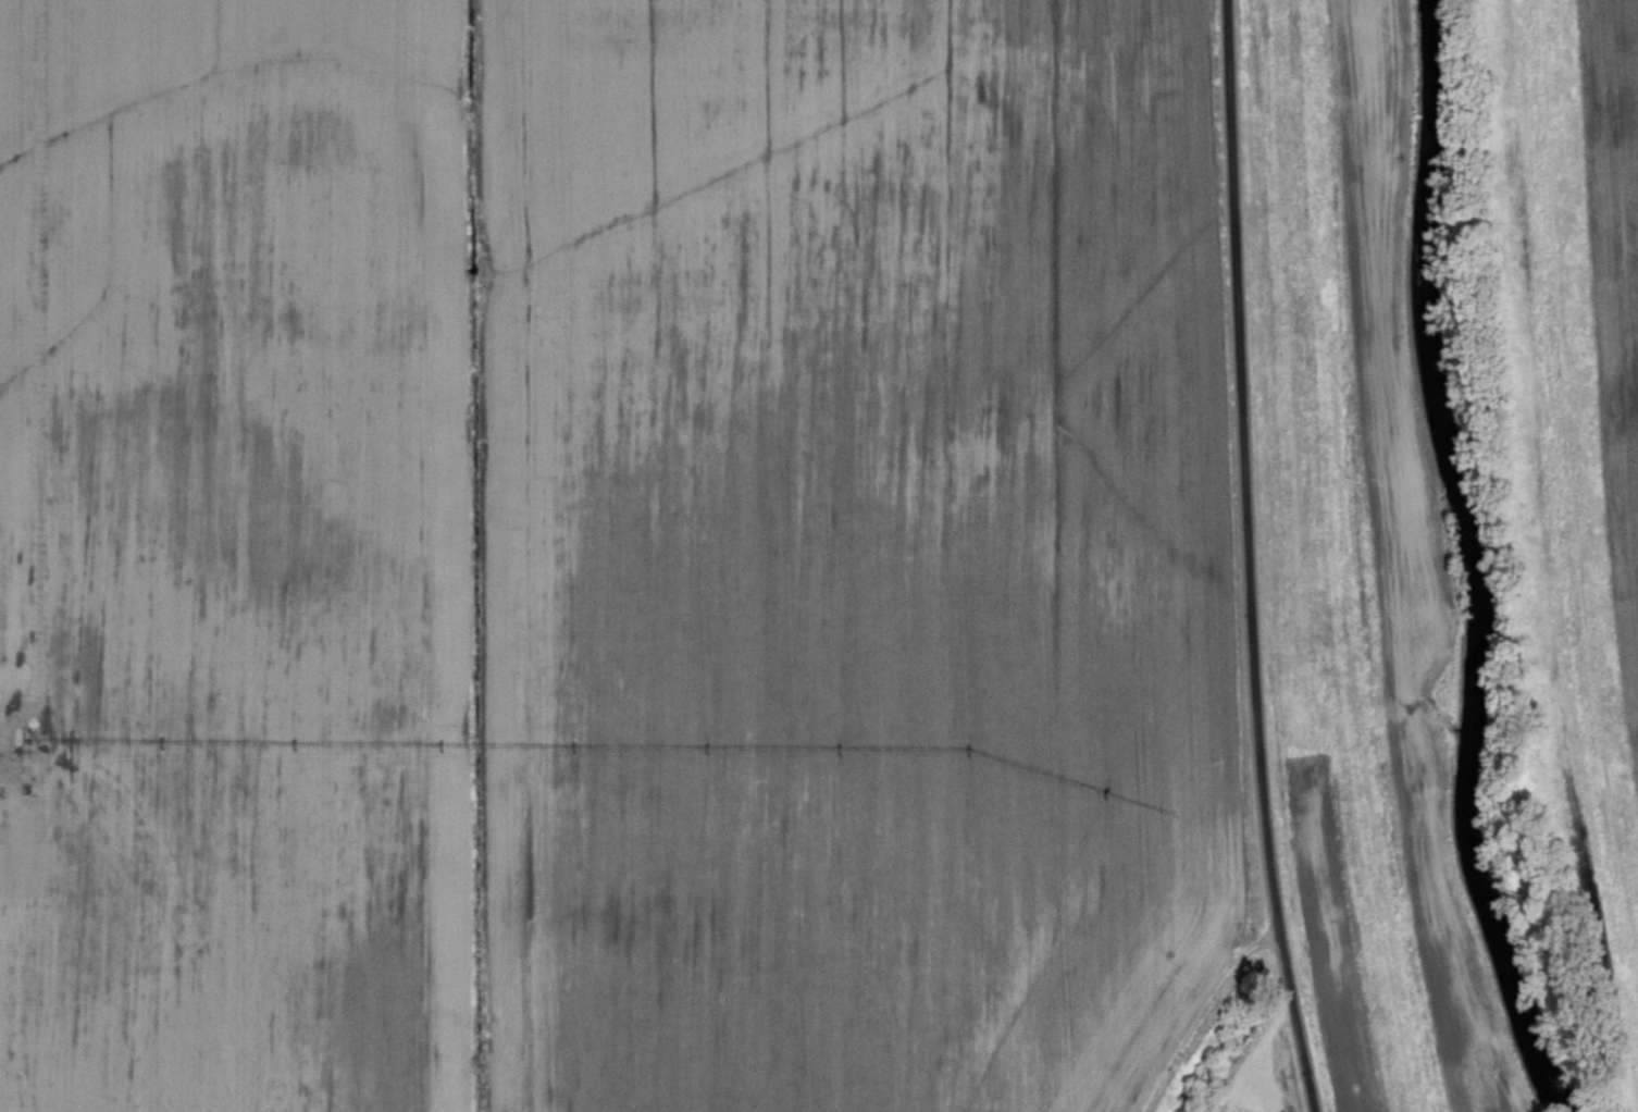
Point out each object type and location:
road: (1178, 559)

